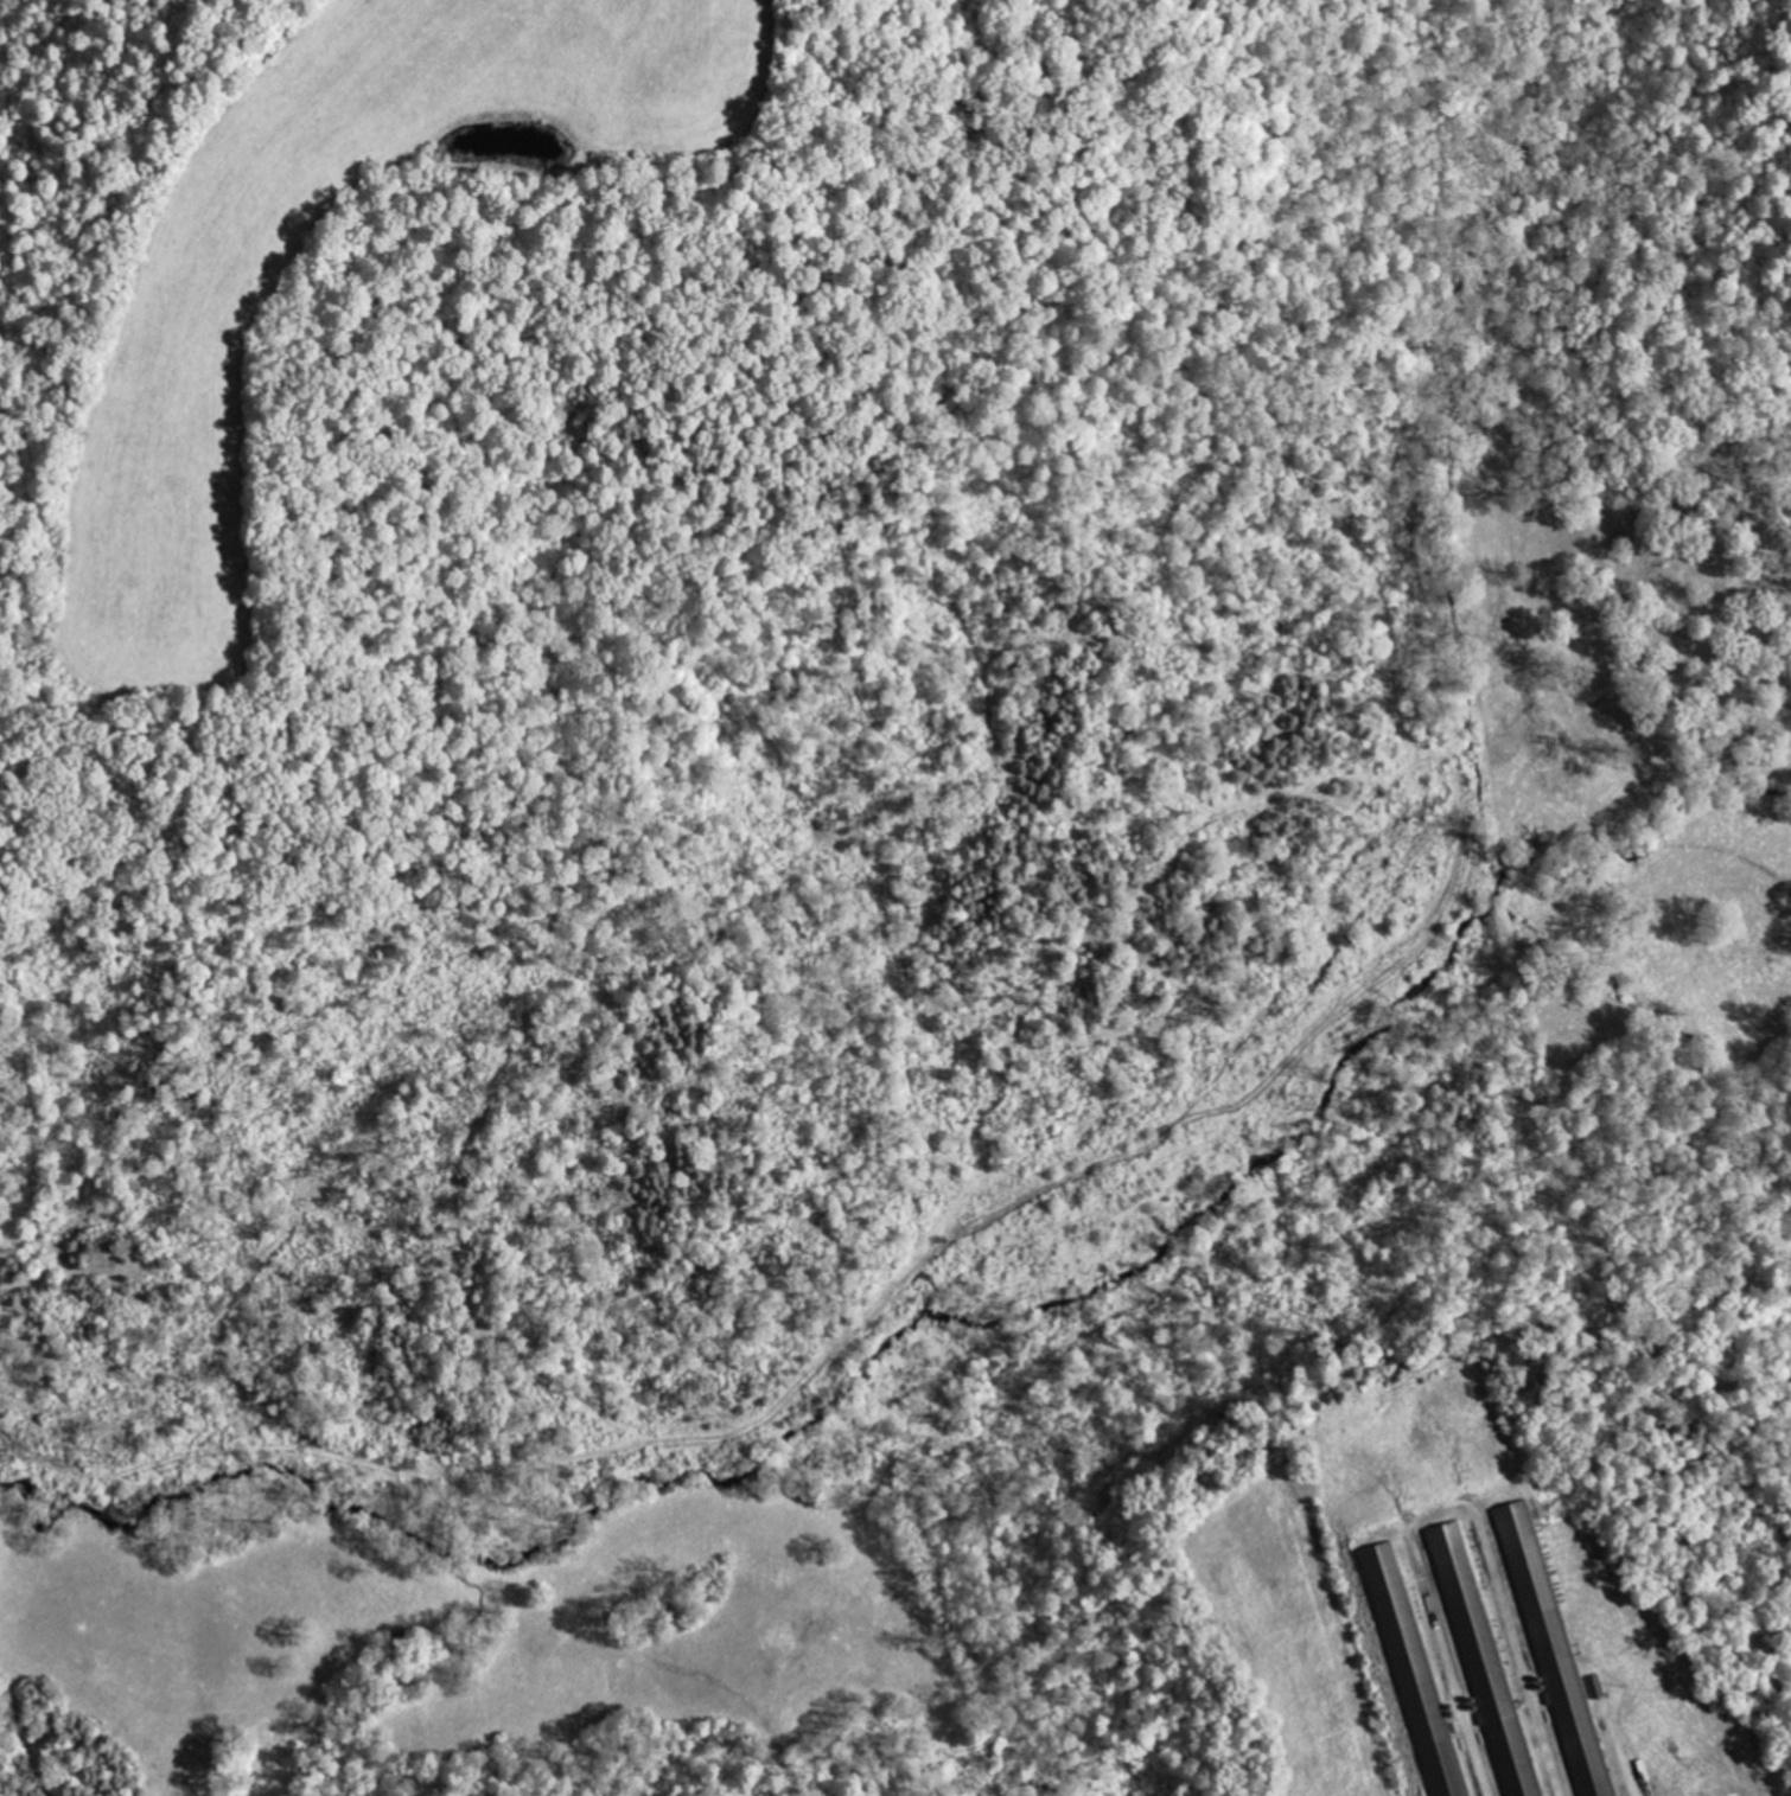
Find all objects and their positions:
building: (1483, 1660)
building: (1413, 1670)
building: (1579, 1727)

